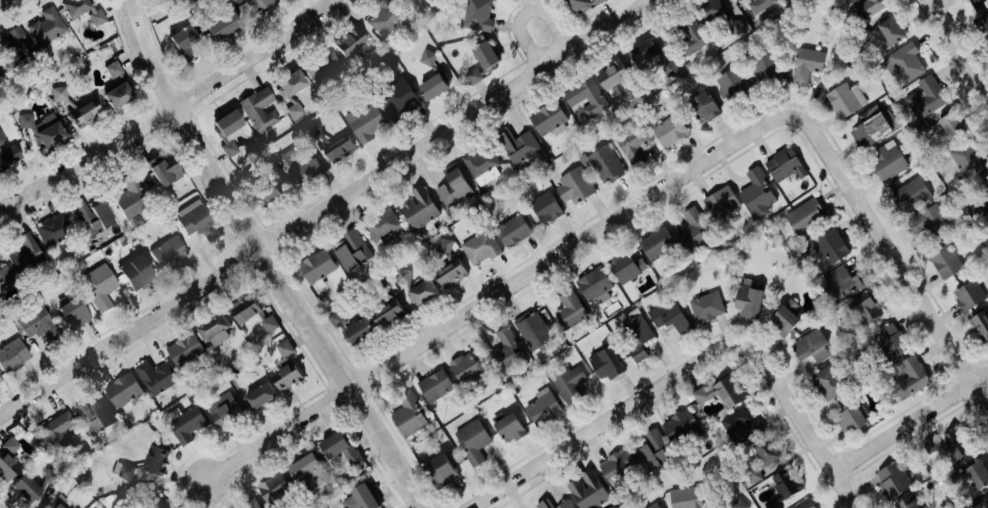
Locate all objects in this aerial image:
building: (238, 0)
building: (266, 4)
building: (581, 4)
building: (762, 4)
building: (865, 8)
building: (708, 10)
building: (86, 11)
building: (478, 15)
building: (982, 18)
building: (383, 19)
building: (235, 23)
road: (558, 26)
building: (50, 27)
building: (888, 32)
building: (691, 35)
building: (188, 41)
building: (349, 42)
road: (959, 48)
building: (642, 52)
building: (428, 57)
building: (481, 61)
building: (905, 62)
building: (808, 64)
building: (765, 67)
building: (116, 68)
building: (325, 68)
building: (612, 74)
building: (732, 84)
building: (431, 86)
building: (296, 93)
building: (62, 94)
building: (125, 96)
building: (586, 97)
building: (926, 97)
building: (398, 99)
building: (847, 99)
building: (702, 107)
road: (169, 109)
building: (264, 110)
building: (89, 112)
building: (548, 118)
building: (366, 122)
building: (948, 122)
building: (47, 129)
building: (870, 130)
building: (232, 131)
building: (669, 131)
building: (518, 145)
building: (633, 146)
building: (338, 149)
building: (9, 153)
building: (887, 160)
building: (967, 160)
building: (604, 163)
building: (784, 164)
building: (301, 166)
building: (483, 166)
building: (170, 169)
building: (575, 185)
building: (453, 187)
building: (985, 188)
building: (912, 194)
building: (758, 195)
building: (136, 198)
building: (722, 202)
building: (544, 206)
road: (328, 208)
building: (420, 208)
building: (976, 210)
building: (805, 215)
building: (95, 219)
building: (201, 220)
building: (929, 221)
building: (383, 224)
building: (691, 227)
building: (57, 229)
building: (513, 230)
building: (657, 242)
building: (445, 245)
building: (830, 246)
building: (360, 247)
building: (481, 247)
building: (172, 252)
building: (29, 255)
road: (263, 259)
building: (946, 261)
road: (892, 262)
building: (319, 265)
building: (628, 267)
building: (142, 271)
building: (450, 273)
building: (839, 283)
building: (595, 285)
building: (8, 286)
building: (105, 286)
building: (417, 287)
road: (498, 293)
building: (969, 294)
building: (747, 299)
building: (707, 307)
building: (570, 308)
building: (863, 309)
building: (78, 313)
building: (386, 313)
building: (257, 314)
building: (668, 316)
building: (784, 316)
building: (337, 318)
building: (981, 324)
building: (42, 325)
building: (535, 328)
building: (221, 331)
building: (355, 331)
building: (636, 337)
building: (890, 340)
building: (812, 346)
building: (287, 348)
building: (190, 350)
building: (508, 350)
building: (15, 355)
building: (605, 363)
building: (463, 367)
building: (160, 376)
building: (291, 376)
building: (912, 376)
building: (0, 379)
building: (829, 382)
building: (569, 383)
building: (435, 385)
building: (127, 389)
building: (720, 392)
building: (266, 396)
building: (543, 409)
building: (231, 410)
building: (408, 415)
building: (98, 416)
building: (853, 416)
road: (602, 421)
road: (909, 421)
road: (800, 423)
building: (191, 424)
building: (679, 425)
building: (740, 425)
building: (509, 428)
building: (64, 432)
building: (473, 441)
building: (949, 449)
building: (653, 450)
building: (346, 454)
building: (160, 459)
building: (759, 460)
building: (10, 461)
building: (616, 465)
building: (315, 469)
building: (441, 469)
building: (978, 474)
building: (893, 478)
building: (786, 483)
building: (36, 486)
building: (280, 489)
building: (588, 490)
building: (360, 497)
building: (686, 497)
building: (909, 502)
building: (739, 503)
building: (984, 503)
building: (58, 504)
building: (257, 504)
building: (556, 504)
building: (806, 504)
building: (166, 505)
building: (655, 506)

